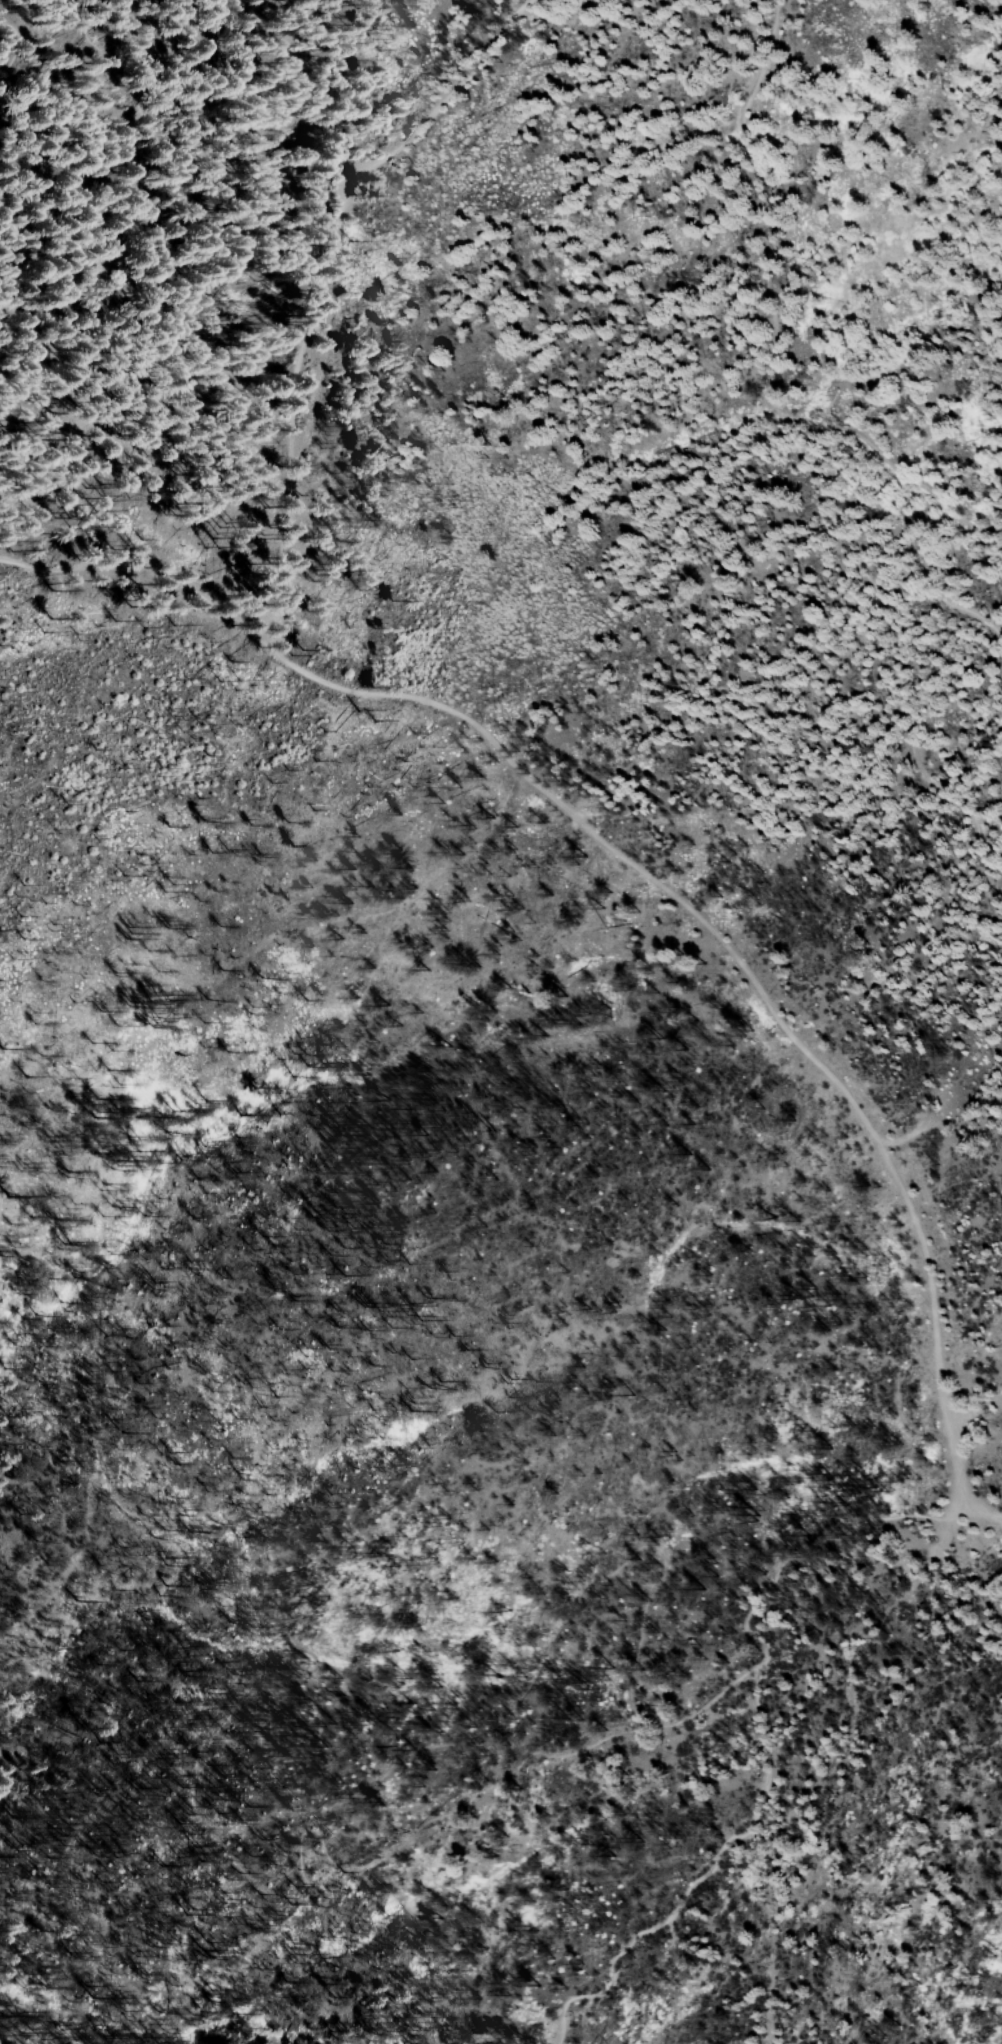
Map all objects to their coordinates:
road: (775, 199)
road: (654, 881)

